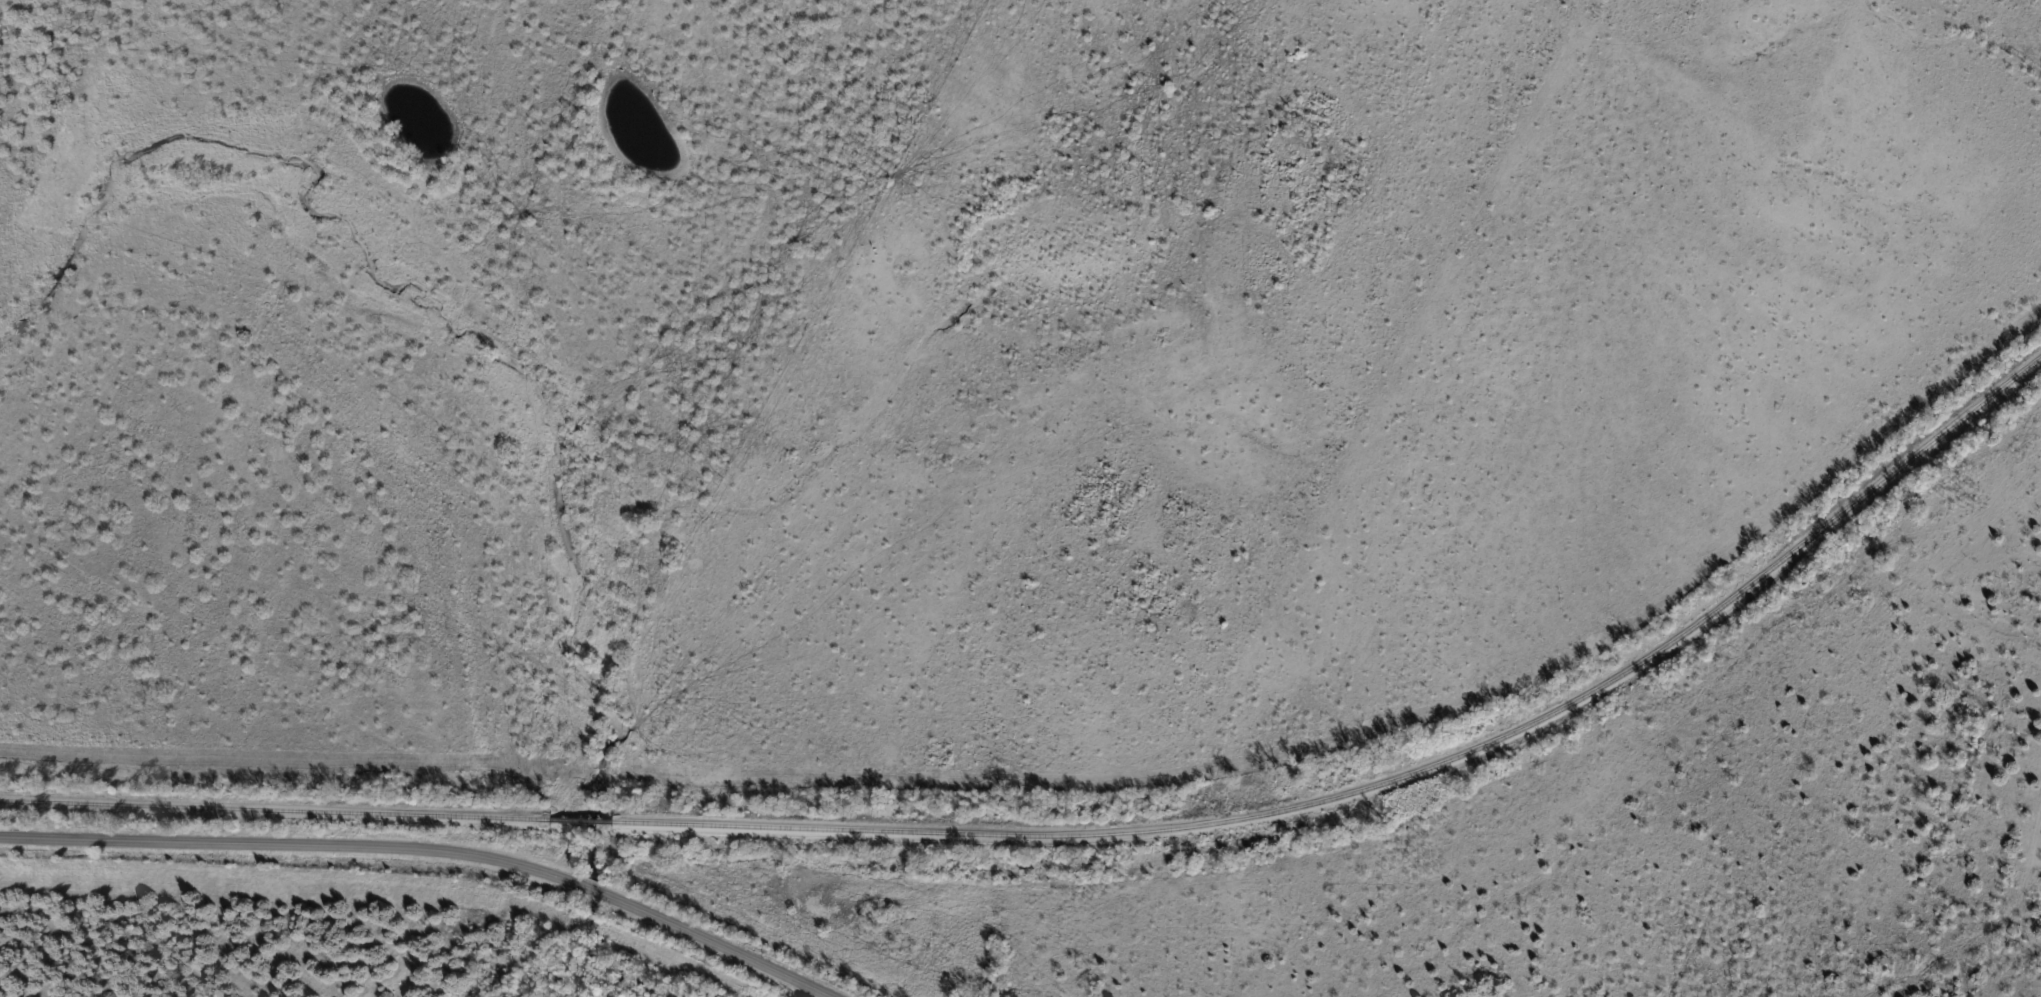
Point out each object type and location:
railway: (1391, 784)
railway: (277, 810)
railway: (586, 820)
road: (262, 840)
road: (563, 877)
road: (711, 944)

